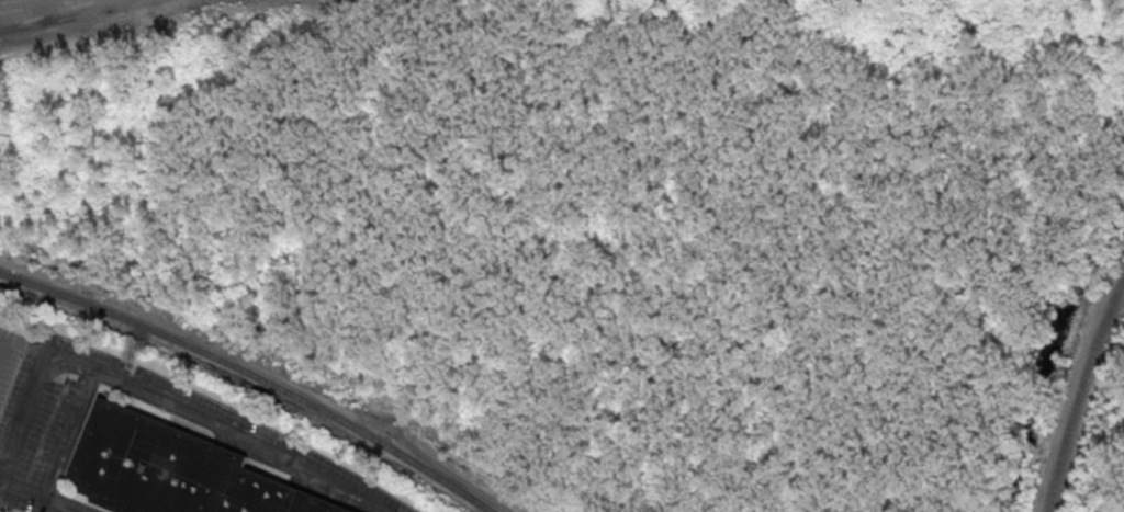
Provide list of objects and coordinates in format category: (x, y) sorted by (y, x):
railway: (22, 3)
road: (65, 19)
railway: (255, 375)
railway: (1079, 391)
road: (158, 395)
building: (177, 470)
road: (43, 497)

